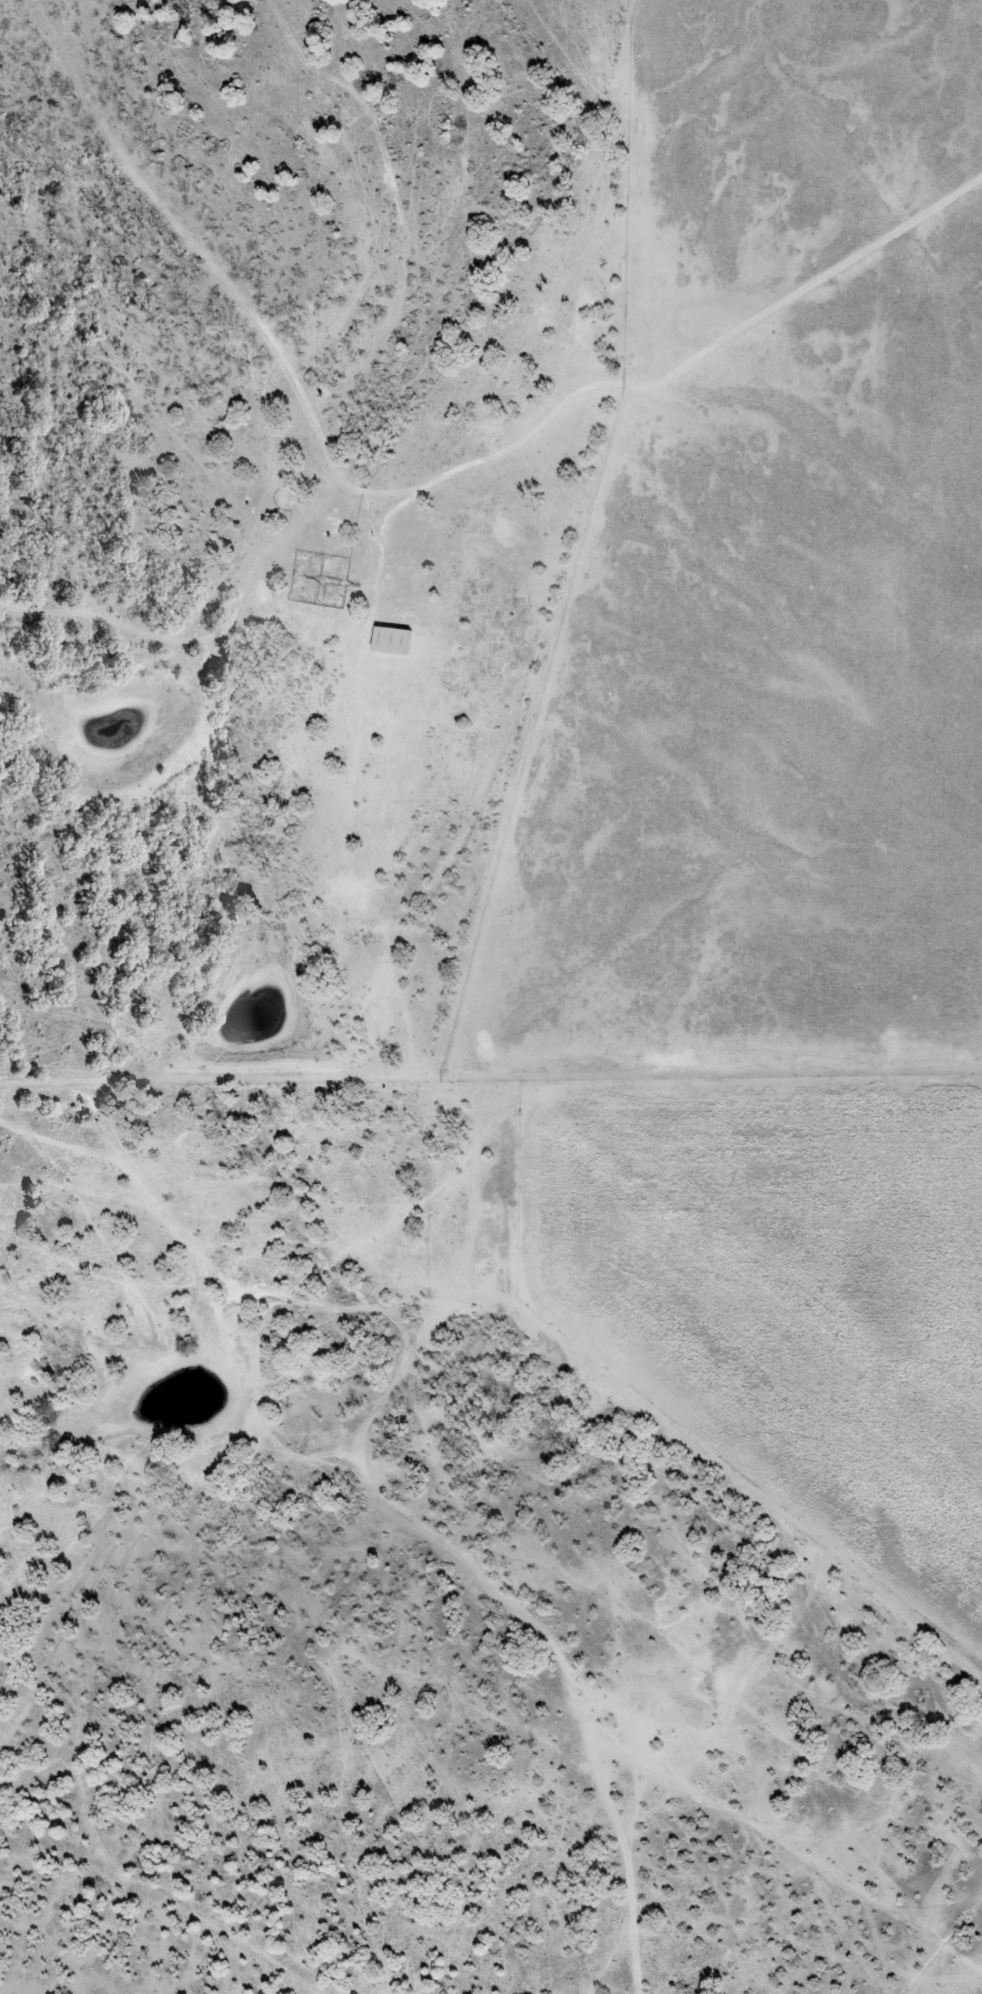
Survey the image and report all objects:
building: (395, 639)

